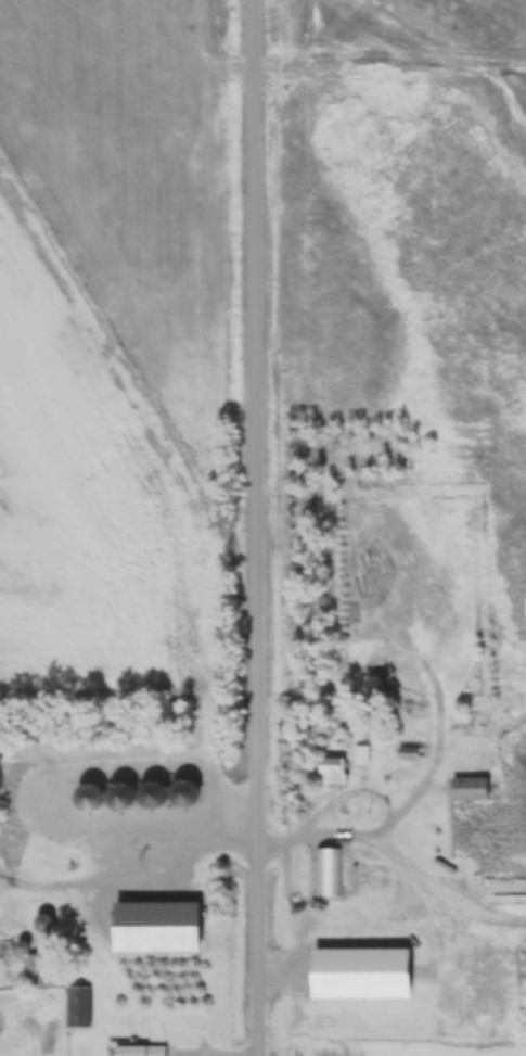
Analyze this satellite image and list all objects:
road: (285, 527)
building: (374, 686)
building: (407, 754)
building: (360, 755)
building: (332, 772)
building: (470, 789)
building: (181, 794)
building: (433, 826)
building: (108, 845)
building: (435, 851)
building: (326, 874)
building: (42, 924)
building: (158, 928)
building: (31, 966)
building: (77, 1008)
building: (140, 1051)

